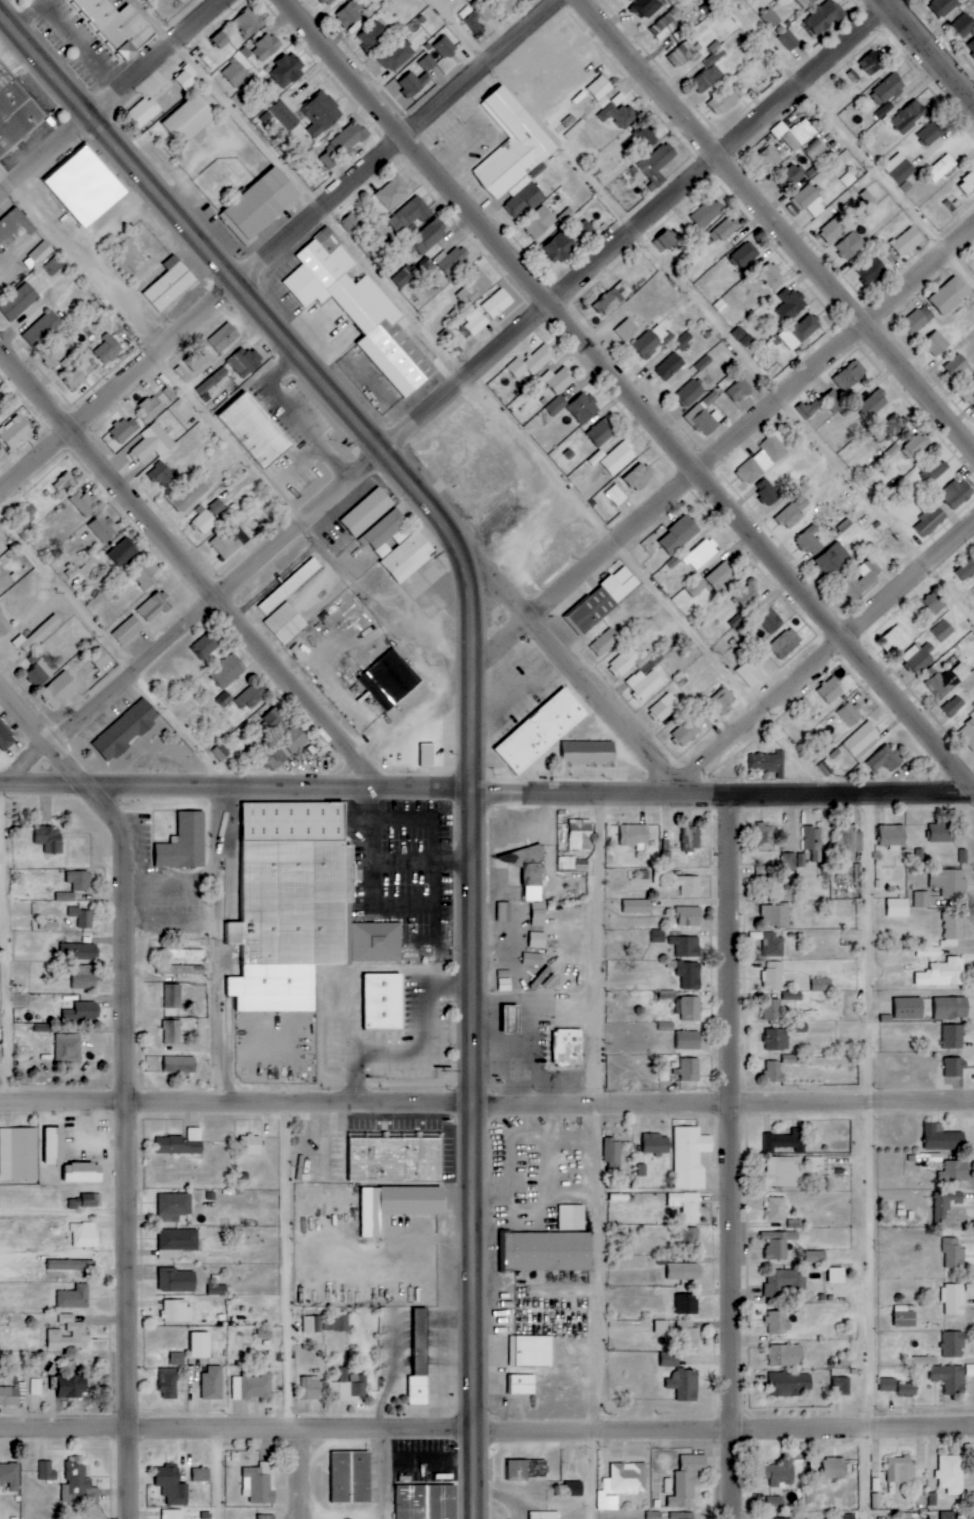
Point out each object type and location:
building: (629, 0)
building: (330, 1)
road: (887, 1)
building: (806, 3)
building: (510, 5)
building: (943, 7)
building: (645, 8)
building: (486, 11)
building: (350, 14)
building: (823, 17)
building: (770, 18)
building: (472, 20)
building: (249, 22)
building: (666, 24)
building: (117, 25)
building: (963, 25)
building: (374, 36)
building: (221, 39)
building: (789, 39)
building: (447, 45)
building: (267, 47)
building: (971, 48)
road: (928, 52)
building: (684, 53)
building: (397, 55)
building: (427, 63)
building: (872, 63)
building: (288, 69)
building: (235, 73)
building: (708, 75)
building: (185, 76)
building: (413, 83)
building: (887, 89)
building: (600, 91)
road: (116, 99)
building: (723, 101)
building: (885, 110)
building: (15, 112)
building: (143, 112)
building: (321, 114)
building: (282, 115)
building: (619, 115)
building: (909, 116)
building: (189, 120)
building: (932, 133)
building: (794, 134)
building: (644, 138)
building: (348, 140)
road: (849, 140)
building: (814, 150)
building: (514, 154)
building: (769, 158)
building: (327, 162)
building: (658, 162)
building: (942, 167)
building: (900, 168)
building: (788, 177)
building: (967, 185)
building: (83, 186)
building: (393, 192)
building: (809, 201)
building: (259, 206)
building: (707, 213)
building: (410, 215)
building: (539, 222)
building: (353, 224)
road: (777, 225)
building: (12, 228)
building: (835, 228)
building: (724, 231)
building: (427, 238)
building: (665, 241)
building: (906, 241)
building: (852, 246)
building: (559, 248)
road: (282, 249)
building: (41, 252)
building: (744, 256)
building: (454, 262)
building: (53, 266)
building: (871, 270)
building: (404, 276)
building: (771, 276)
building: (168, 285)
building: (473, 288)
building: (950, 296)
building: (613, 298)
building: (17, 301)
building: (791, 303)
building: (497, 304)
road: (706, 305)
building: (361, 311)
building: (917, 321)
building: (475, 323)
building: (43, 330)
building: (627, 330)
building: (800, 332)
building: (224, 338)
building: (653, 341)
building: (936, 344)
building: (108, 350)
building: (52, 356)
building: (196, 361)
building: (245, 362)
building: (530, 363)
building: (704, 363)
building: (956, 366)
building: (670, 367)
road: (316, 371)
building: (182, 373)
building: (850, 376)
building: (75, 379)
building: (558, 380)
building: (212, 381)
road: (634, 390)
building: (739, 391)
building: (689, 393)
building: (968, 393)
road: (449, 396)
road: (491, 397)
building: (834, 401)
building: (874, 404)
building: (556, 406)
building: (583, 408)
building: (150, 409)
building: (705, 415)
building: (895, 425)
building: (125, 429)
building: (255, 431)
building: (602, 432)
building: (15, 433)
road: (235, 441)
building: (153, 443)
building: (916, 447)
road: (730, 450)
building: (621, 456)
building: (598, 458)
building: (764, 458)
building: (639, 477)
building: (66, 482)
building: (180, 489)
building: (767, 492)
building: (957, 493)
building: (617, 495)
building: (85, 503)
building: (217, 507)
building: (366, 512)
building: (793, 513)
building: (930, 521)
building: (203, 522)
building: (105, 529)
building: (383, 533)
building: (679, 535)
building: (810, 541)
building: (229, 543)
building: (2, 548)
building: (123, 552)
building: (702, 555)
building: (408, 557)
building: (832, 559)
road: (189, 567)
building: (966, 570)
building: (722, 576)
building: (144, 579)
building: (5, 581)
building: (860, 582)
building: (288, 587)
building: (696, 587)
building: (746, 597)
building: (604, 600)
building: (935, 604)
building: (155, 607)
building: (769, 620)
building: (285, 623)
building: (4, 626)
building: (128, 631)
building: (943, 631)
building: (36, 636)
building: (895, 641)
building: (605, 642)
building: (786, 644)
building: (205, 646)
building: (919, 657)
building: (100, 659)
building: (626, 662)
road: (825, 662)
building: (228, 671)
building: (38, 674)
road: (579, 674)
building: (388, 679)
building: (949, 679)
building: (644, 684)
building: (59, 691)
building: (830, 691)
building: (250, 698)
building: (721, 703)
building: (953, 706)
building: (665, 707)
building: (803, 707)
building: (850, 714)
building: (274, 718)
building: (126, 730)
building: (541, 732)
building: (686, 732)
building: (968, 734)
building: (6, 738)
building: (861, 739)
building: (295, 740)
building: (220, 752)
building: (588, 754)
building: (427, 755)
building: (274, 757)
building: (886, 759)
building: (768, 763)
road: (216, 771)
road: (237, 789)
road: (724, 796)
building: (942, 832)
building: (579, 834)
building: (634, 835)
building: (892, 835)
building: (765, 836)
building: (691, 838)
building: (849, 838)
building: (50, 839)
building: (813, 842)
building: (184, 843)
building: (793, 860)
building: (567, 863)
building: (528, 870)
building: (764, 874)
building: (80, 881)
building: (949, 882)
building: (689, 885)
building: (64, 897)
building: (922, 899)
building: (291, 902)
building: (638, 907)
building: (898, 907)
building: (504, 912)
building: (538, 914)
building: (776, 915)
building: (689, 916)
building: (82, 917)
building: (49, 925)
building: (953, 928)
building: (658, 936)
building: (536, 940)
building: (376, 942)
road: (9, 943)
building: (773, 945)
building: (686, 946)
building: (78, 952)
building: (928, 952)
building: (184, 954)
building: (532, 959)
building: (180, 970)
building: (943, 973)
building: (685, 974)
building: (774, 975)
building: (83, 977)
building: (504, 981)
building: (821, 984)
building: (667, 994)
building: (172, 996)
building: (790, 996)
building: (382, 1001)
building: (690, 1008)
building: (909, 1008)
building: (952, 1008)
building: (772, 1009)
building: (79, 1011)
building: (511, 1020)
building: (42, 1027)
building: (666, 1027)
building: (172, 1032)
building: (953, 1037)
building: (777, 1040)
building: (687, 1041)
building: (67, 1048)
building: (566, 1048)
building: (0, 1055)
building: (792, 1059)
building: (180, 1064)
building: (955, 1067)
building: (690, 1069)
building: (774, 1071)
road: (124, 1077)
road: (486, 1105)
road: (474, 1110)
building: (943, 1138)
building: (786, 1140)
building: (656, 1144)
building: (179, 1145)
building: (251, 1145)
building: (54, 1146)
building: (612, 1153)
building: (18, 1154)
road: (596, 1157)
building: (690, 1157)
road: (736, 1157)
road: (867, 1157)
building: (396, 1159)
building: (955, 1171)
building: (782, 1172)
building: (82, 1173)
building: (83, 1202)
building: (946, 1204)
building: (397, 1205)
building: (686, 1205)
building: (174, 1207)
building: (776, 1209)
building: (571, 1218)
building: (85, 1235)
building: (691, 1239)
building: (176, 1243)
building: (778, 1244)
building: (549, 1251)
building: (953, 1253)
building: (816, 1257)
building: (71, 1265)
road: (294, 1267)
building: (683, 1271)
building: (837, 1275)
building: (177, 1281)
building: (782, 1282)
building: (218, 1290)
building: (74, 1298)
building: (952, 1299)
building: (686, 1305)
building: (176, 1311)
building: (903, 1319)
building: (778, 1322)
building: (337, 1323)
building: (311, 1324)
building: (661, 1326)
building: (264, 1333)
building: (69, 1334)
building: (689, 1334)
building: (951, 1344)
building: (200, 1345)
building: (531, 1351)
building: (786, 1356)
building: (177, 1359)
building: (670, 1359)
building: (420, 1361)
building: (951, 1379)
building: (212, 1383)
building: (168, 1384)
building: (520, 1384)
building: (685, 1384)
building: (791, 1384)
building: (843, 1385)
building: (888, 1385)
building: (252, 1386)
building: (352, 1386)
building: (71, 1387)
building: (311, 1388)
building: (907, 1389)
road: (487, 1429)
building: (526, 1469)
building: (832, 1470)
building: (47, 1471)
road: (217, 1473)
road: (302, 1473)
road: (394, 1474)
road: (475, 1474)
building: (899, 1474)
building: (951, 1474)
building: (201, 1475)
building: (10, 1476)
building: (349, 1477)
building: (775, 1478)
building: (78, 1479)
building: (687, 1480)
building: (260, 1483)
building: (622, 1484)
building: (172, 1486)
building: (575, 1489)
building: (0, 1490)
building: (426, 1502)
building: (172, 1514)
building: (543, 1515)
building: (683, 1515)
building: (950, 1515)
building: (847, 1516)
building: (266, 1517)

